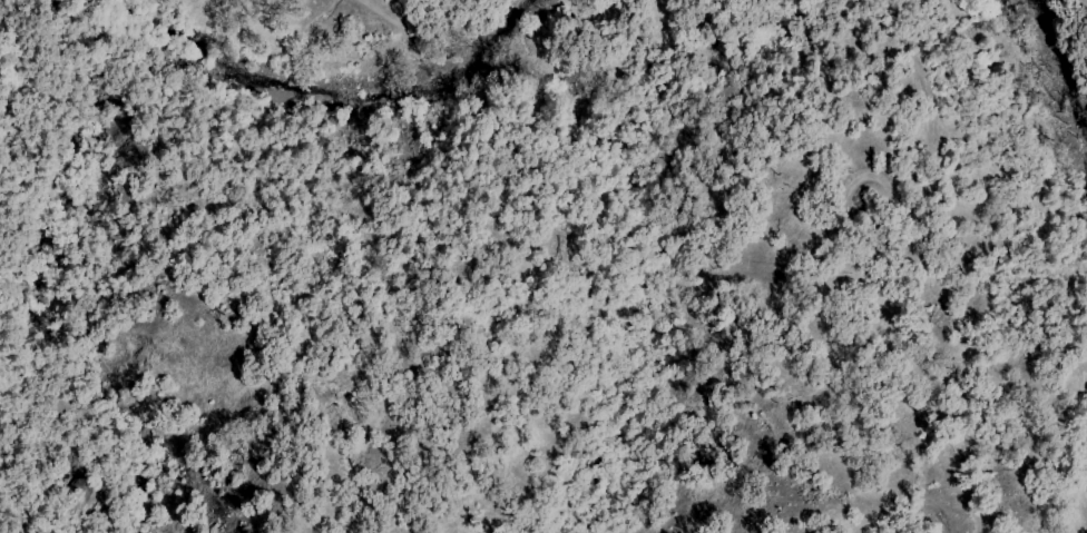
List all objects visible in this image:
river: (277, 60)
river: (1019, 110)

